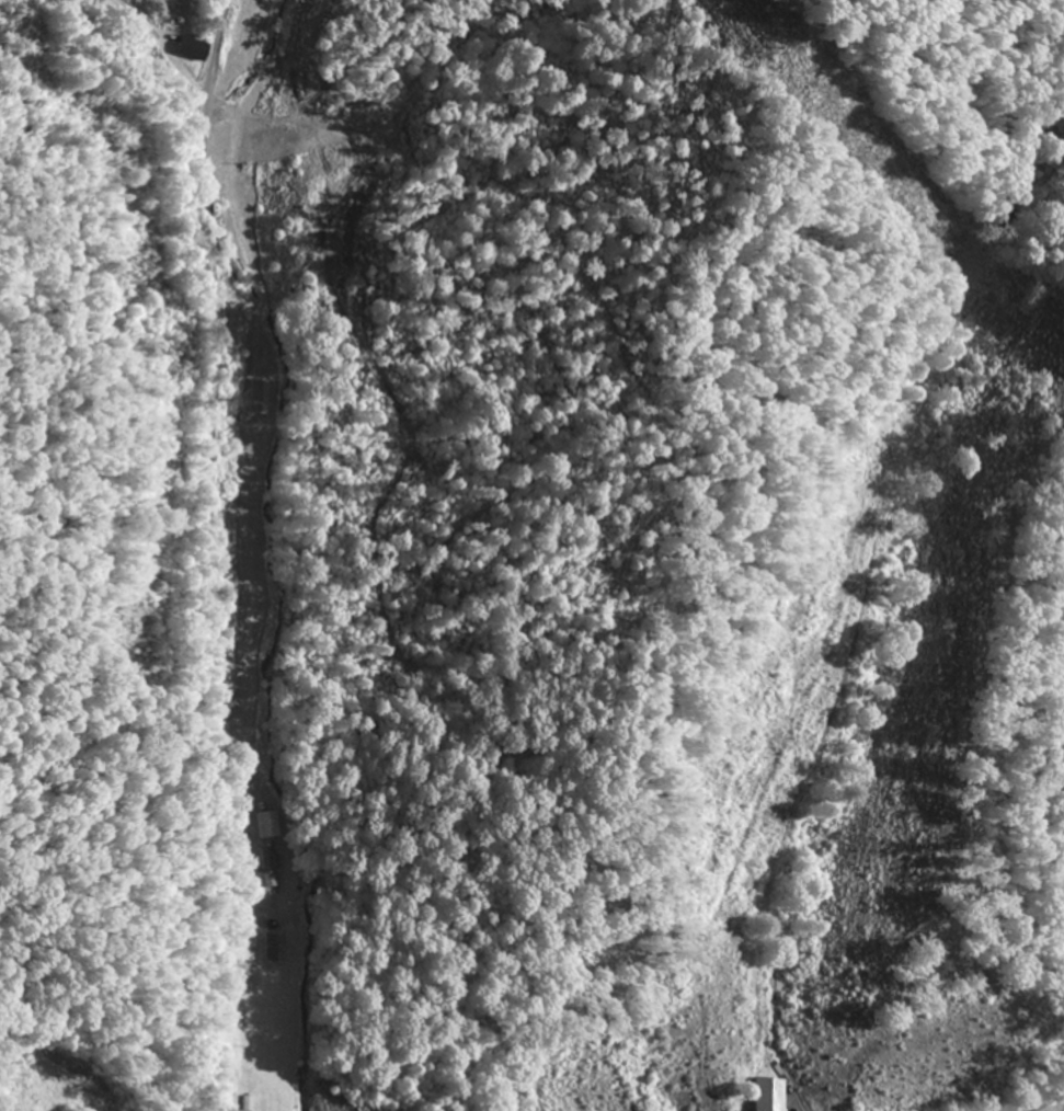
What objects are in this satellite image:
building: (191, 48)
road: (213, 553)
building: (275, 948)
building: (770, 1095)
road: (1041, 1103)

